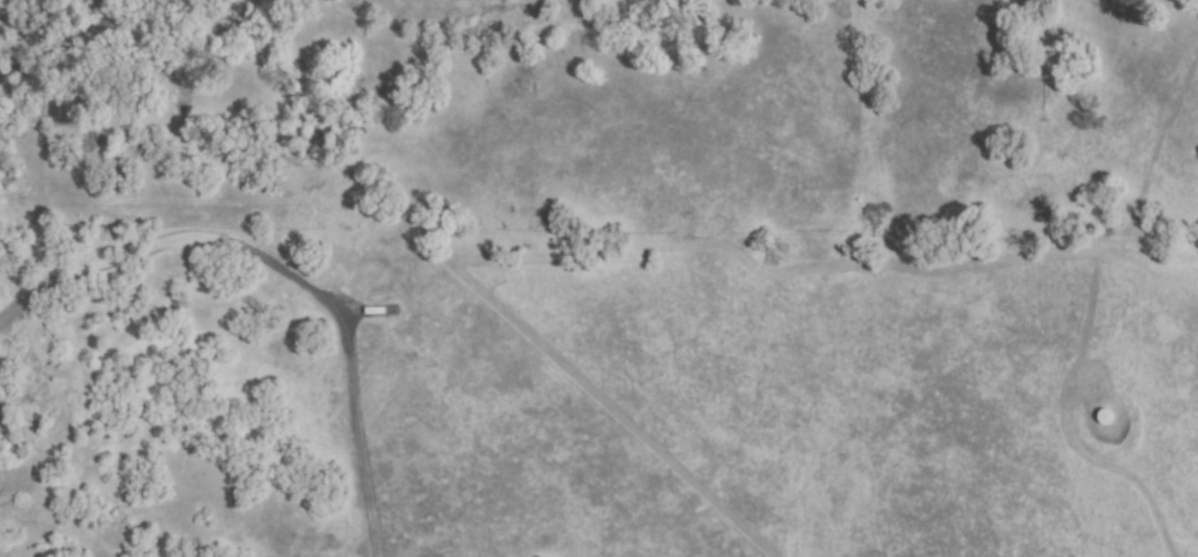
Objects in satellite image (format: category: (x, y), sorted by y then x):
building: (393, 306)
storage tank: (1105, 417)

